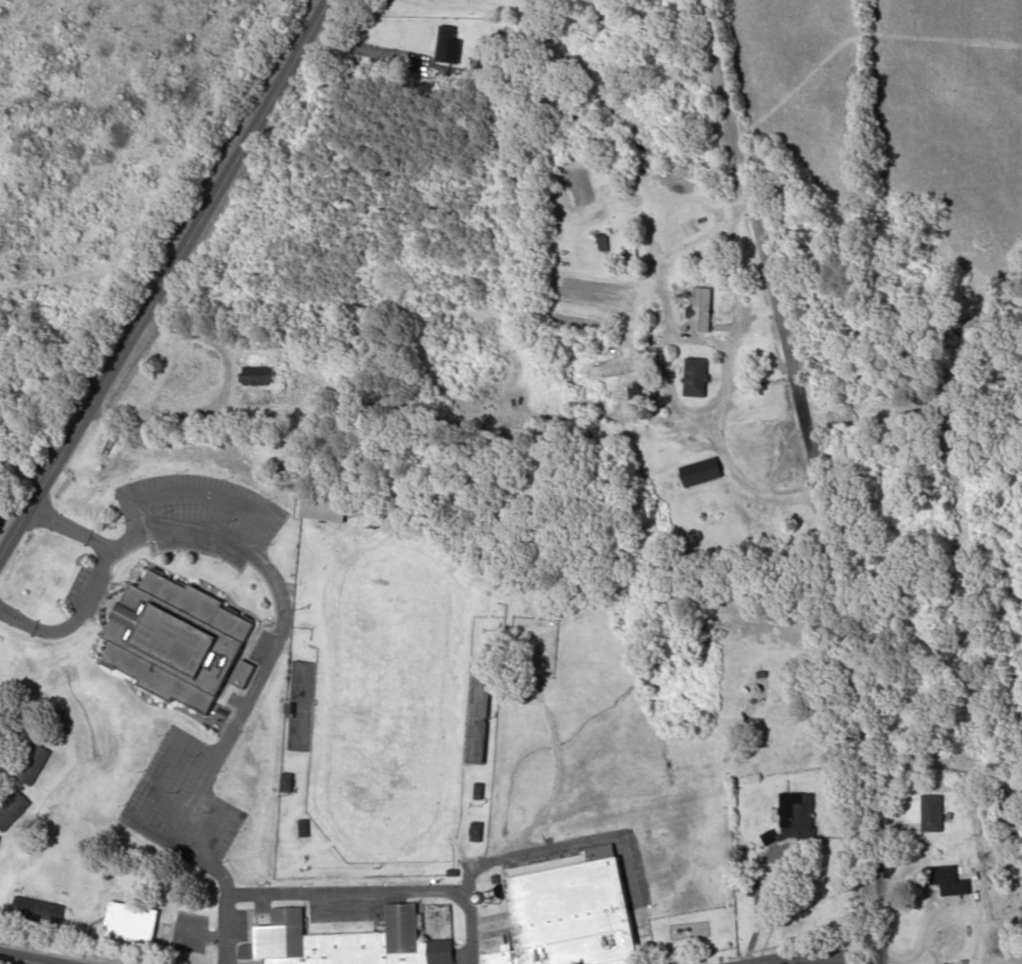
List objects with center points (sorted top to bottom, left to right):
road: (761, 218)
road: (166, 278)
building: (702, 311)
building: (259, 378)
building: (696, 379)
building: (485, 380)
building: (702, 474)
road: (207, 494)
building: (327, 511)
parking lot: (200, 515)
road: (96, 584)
road: (280, 629)
building: (179, 641)
stadium: (389, 696)
park: (392, 699)
road: (852, 699)
road: (7, 742)
building: (34, 765)
road: (171, 765)
building: (288, 784)
parking lot: (185, 802)
building: (13, 810)
building: (933, 815)
building: (805, 818)
road: (225, 820)
building: (478, 833)
road: (192, 856)
building: (948, 883)
road: (350, 891)
water tower: (491, 893)
building: (40, 910)
building: (572, 911)
building: (133, 923)
parking lot: (192, 933)
building: (345, 942)
road: (28, 958)
road: (809, 959)

